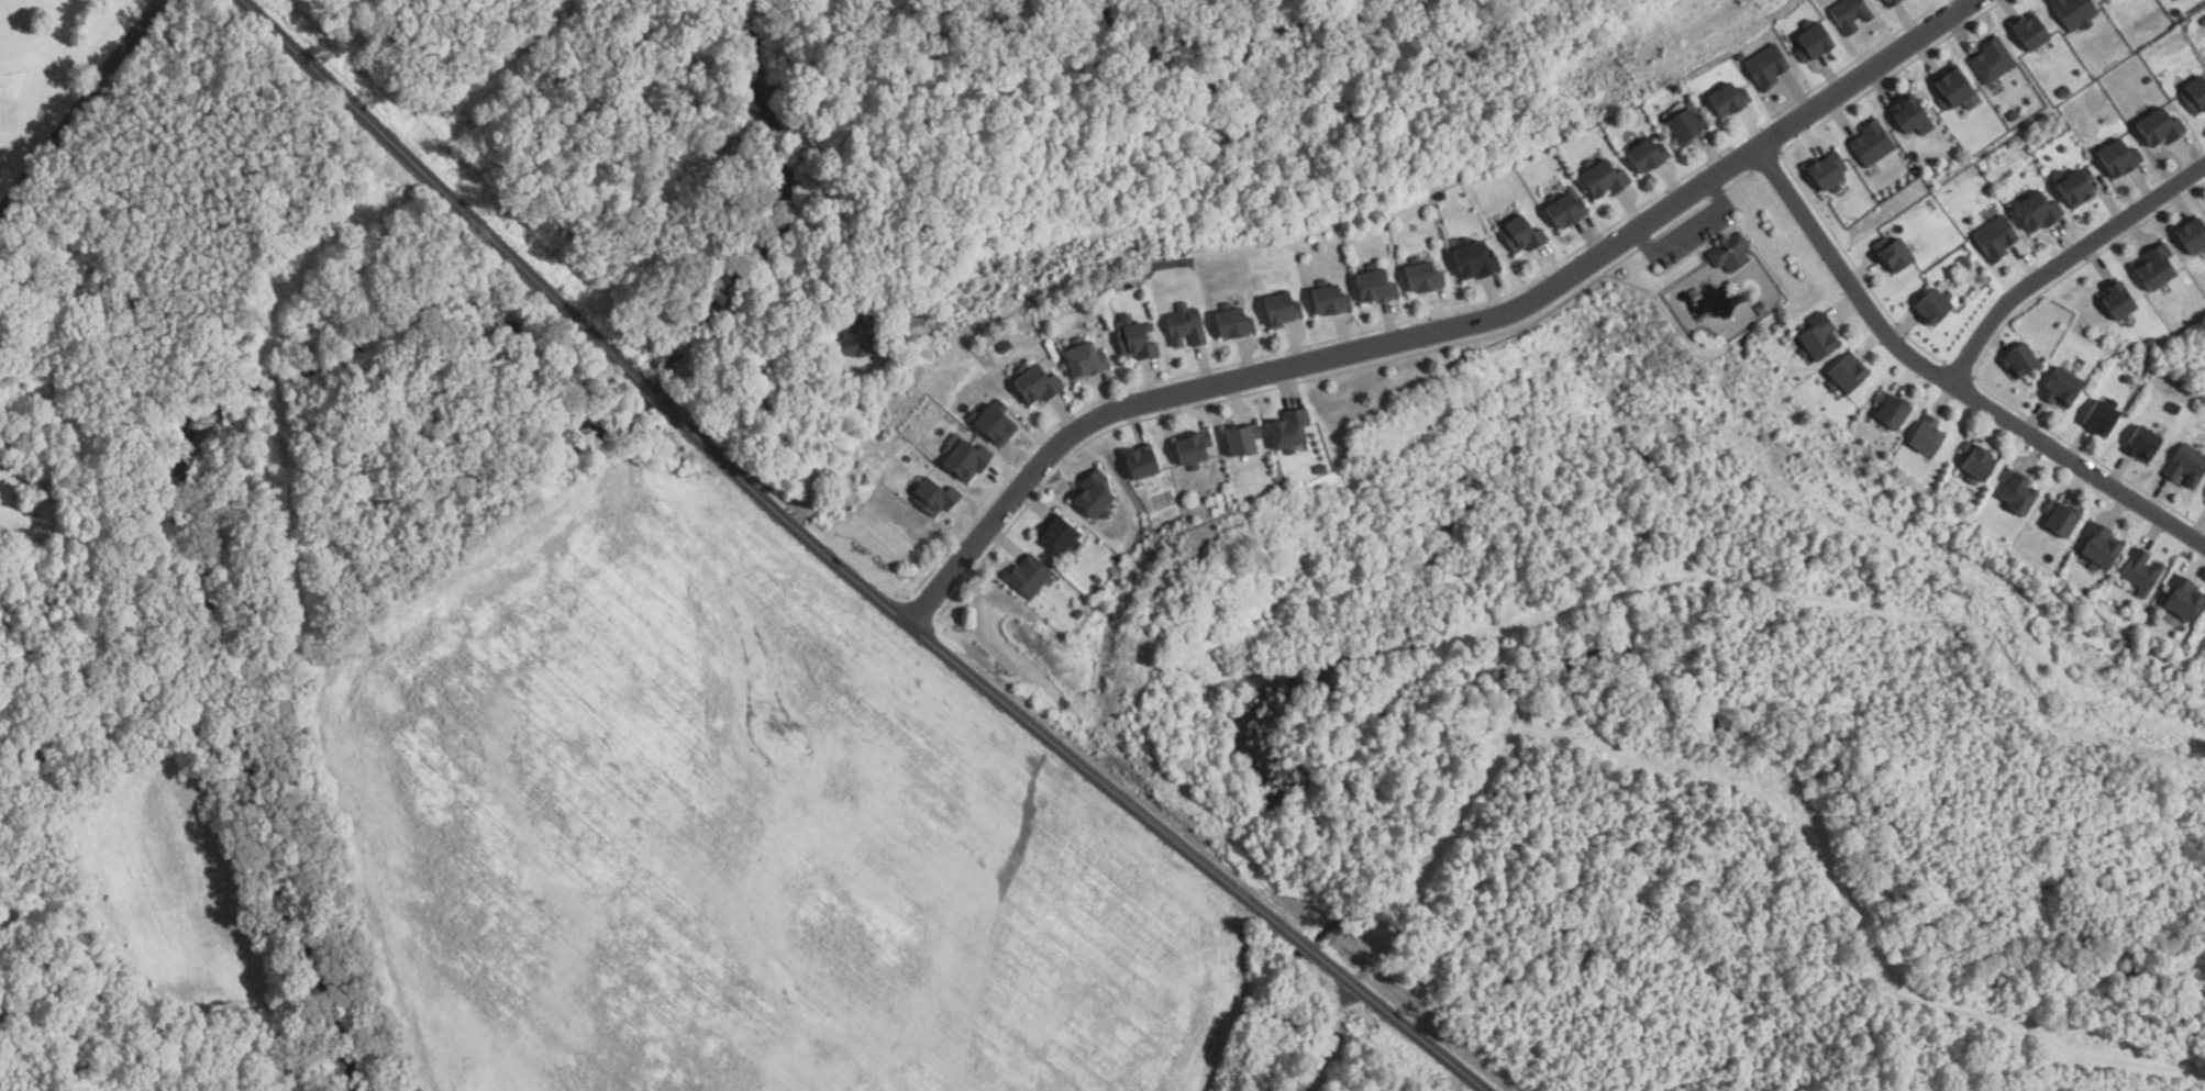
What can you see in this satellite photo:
building: (2109, 1)
building: (1891, 3)
building: (2074, 13)
building: (1849, 14)
building: (2030, 33)
building: (1811, 42)
building: (1738, 56)
building: (1993, 62)
building: (1765, 67)
building: (2148, 79)
building: (1953, 89)
building: (2064, 93)
building: (2194, 97)
building: (1727, 100)
road: (80, 108)
building: (1909, 116)
building: (2013, 116)
building: (1683, 125)
building: (2160, 127)
building: (1871, 144)
building: (1646, 155)
building: (2118, 158)
building: (1826, 174)
building: (1603, 180)
building: (2075, 187)
road: (441, 190)
building: (1440, 197)
building: (1564, 211)
building: (2039, 212)
road: (1689, 231)
building: (1522, 235)
building: (2192, 237)
building: (1995, 238)
building: (1729, 254)
building: (1892, 255)
road: (2064, 260)
building: (1473, 261)
building: (1964, 263)
building: (2154, 268)
building: (1422, 277)
building: (1375, 288)
building: (1328, 299)
building: (2117, 302)
building: (1932, 307)
building: (1281, 311)
building: (1233, 323)
building: (1185, 326)
road: (1436, 333)
building: (855, 334)
building: (1815, 336)
building: (1134, 339)
building: (2149, 344)
building: (1006, 347)
building: (1086, 360)
building: (2018, 360)
building: (1844, 372)
road: (1948, 381)
building: (1038, 386)
building: (2062, 387)
road: (650, 391)
building: (2174, 408)
building: (1888, 410)
building: (2102, 415)
building: (995, 423)
road: (777, 427)
building: (1288, 430)
building: (1925, 435)
building: (1241, 437)
building: (88, 438)
building: (2143, 443)
road: (3, 444)
building: (1192, 447)
building: (908, 459)
building: (1141, 460)
building: (966, 461)
building: (1974, 463)
building: (2186, 464)
building: (1318, 469)
building: (2016, 492)
building: (1096, 494)
building: (933, 499)
building: (2060, 517)
building: (1060, 535)
building: (2098, 545)
building: (2140, 572)
building: (1027, 576)
building: (1097, 578)
building: (2182, 597)
building: (1078, 614)
road: (1029, 730)
road: (1451, 1066)

